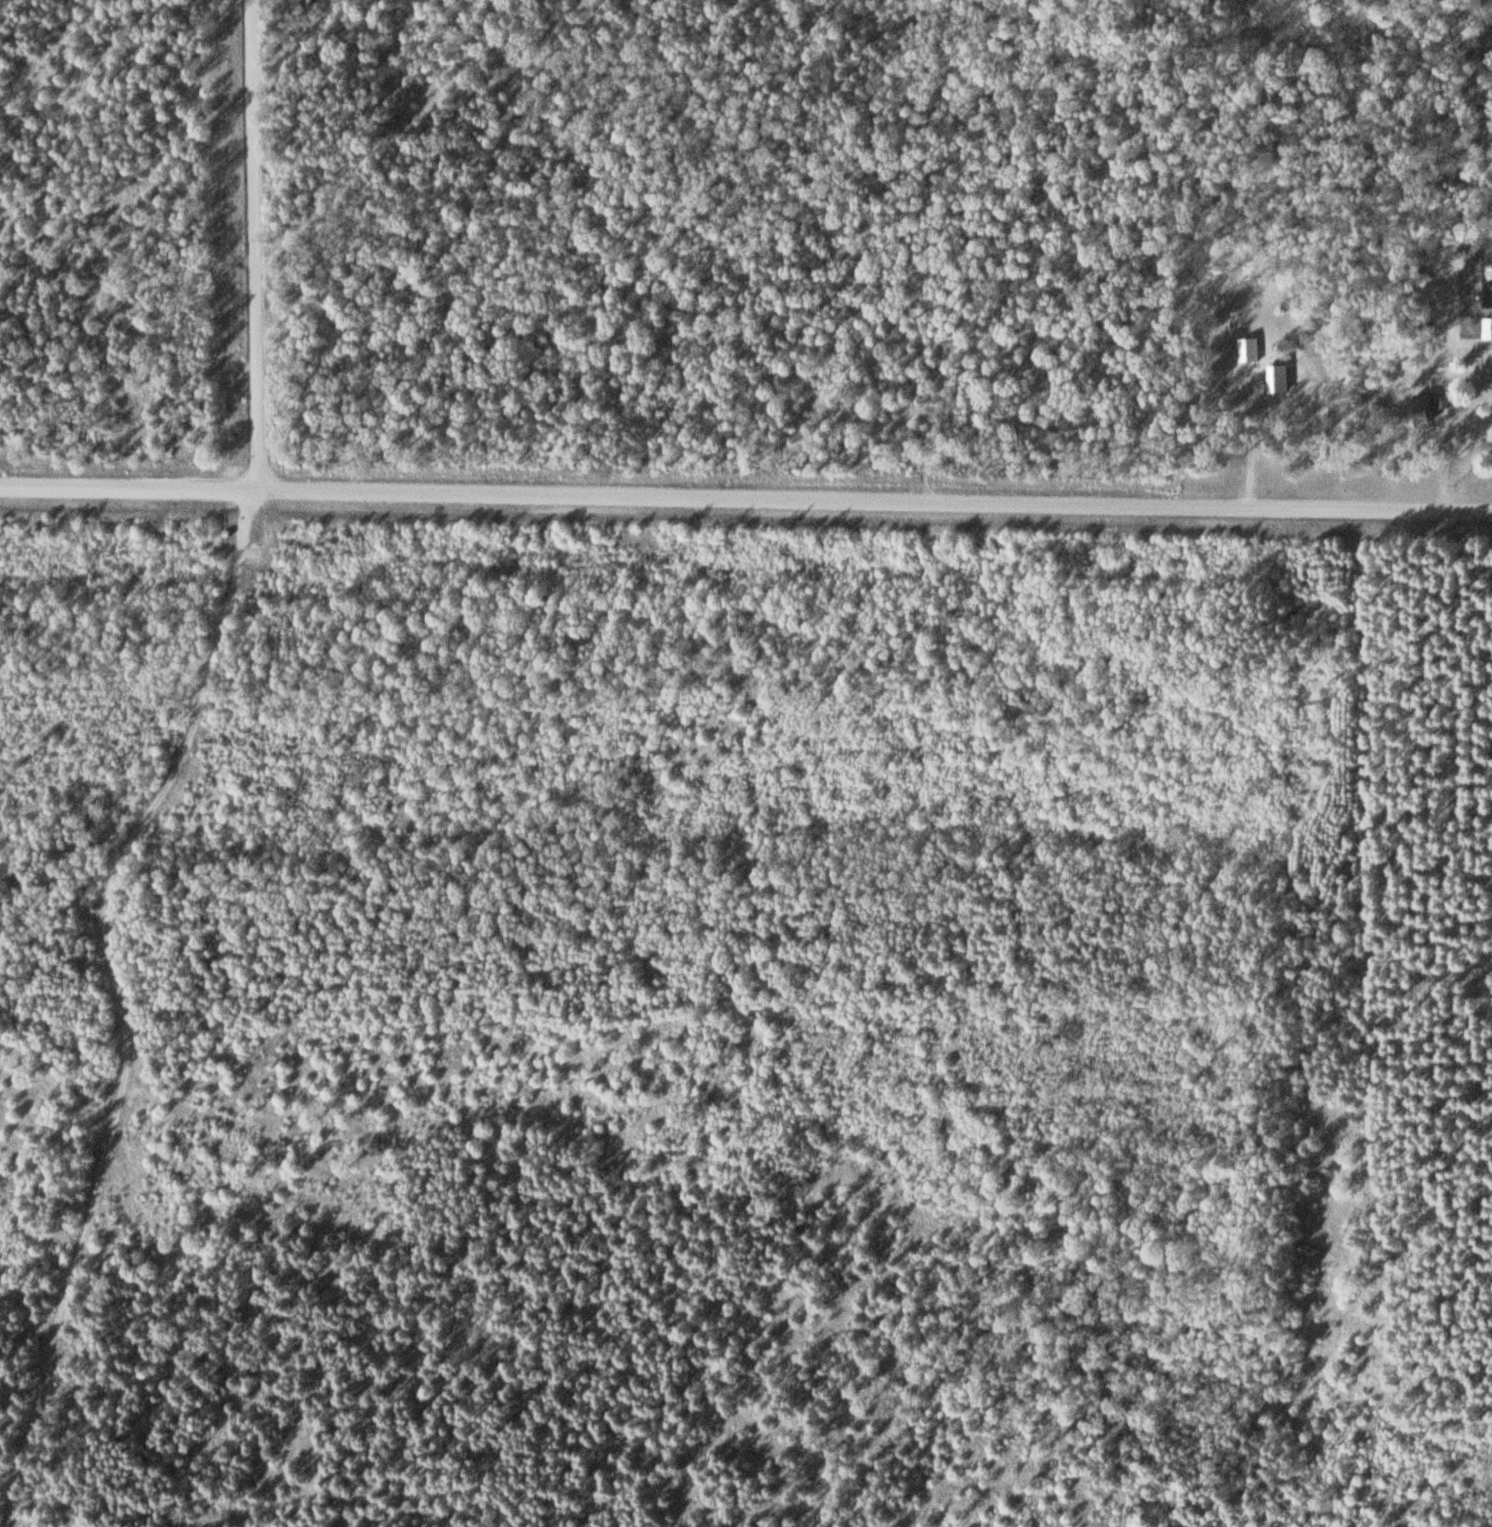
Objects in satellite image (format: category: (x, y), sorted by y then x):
road: (261, 243)
building: (1249, 350)
building: (1278, 379)
building: (1425, 412)
road: (745, 496)
road: (131, 996)

